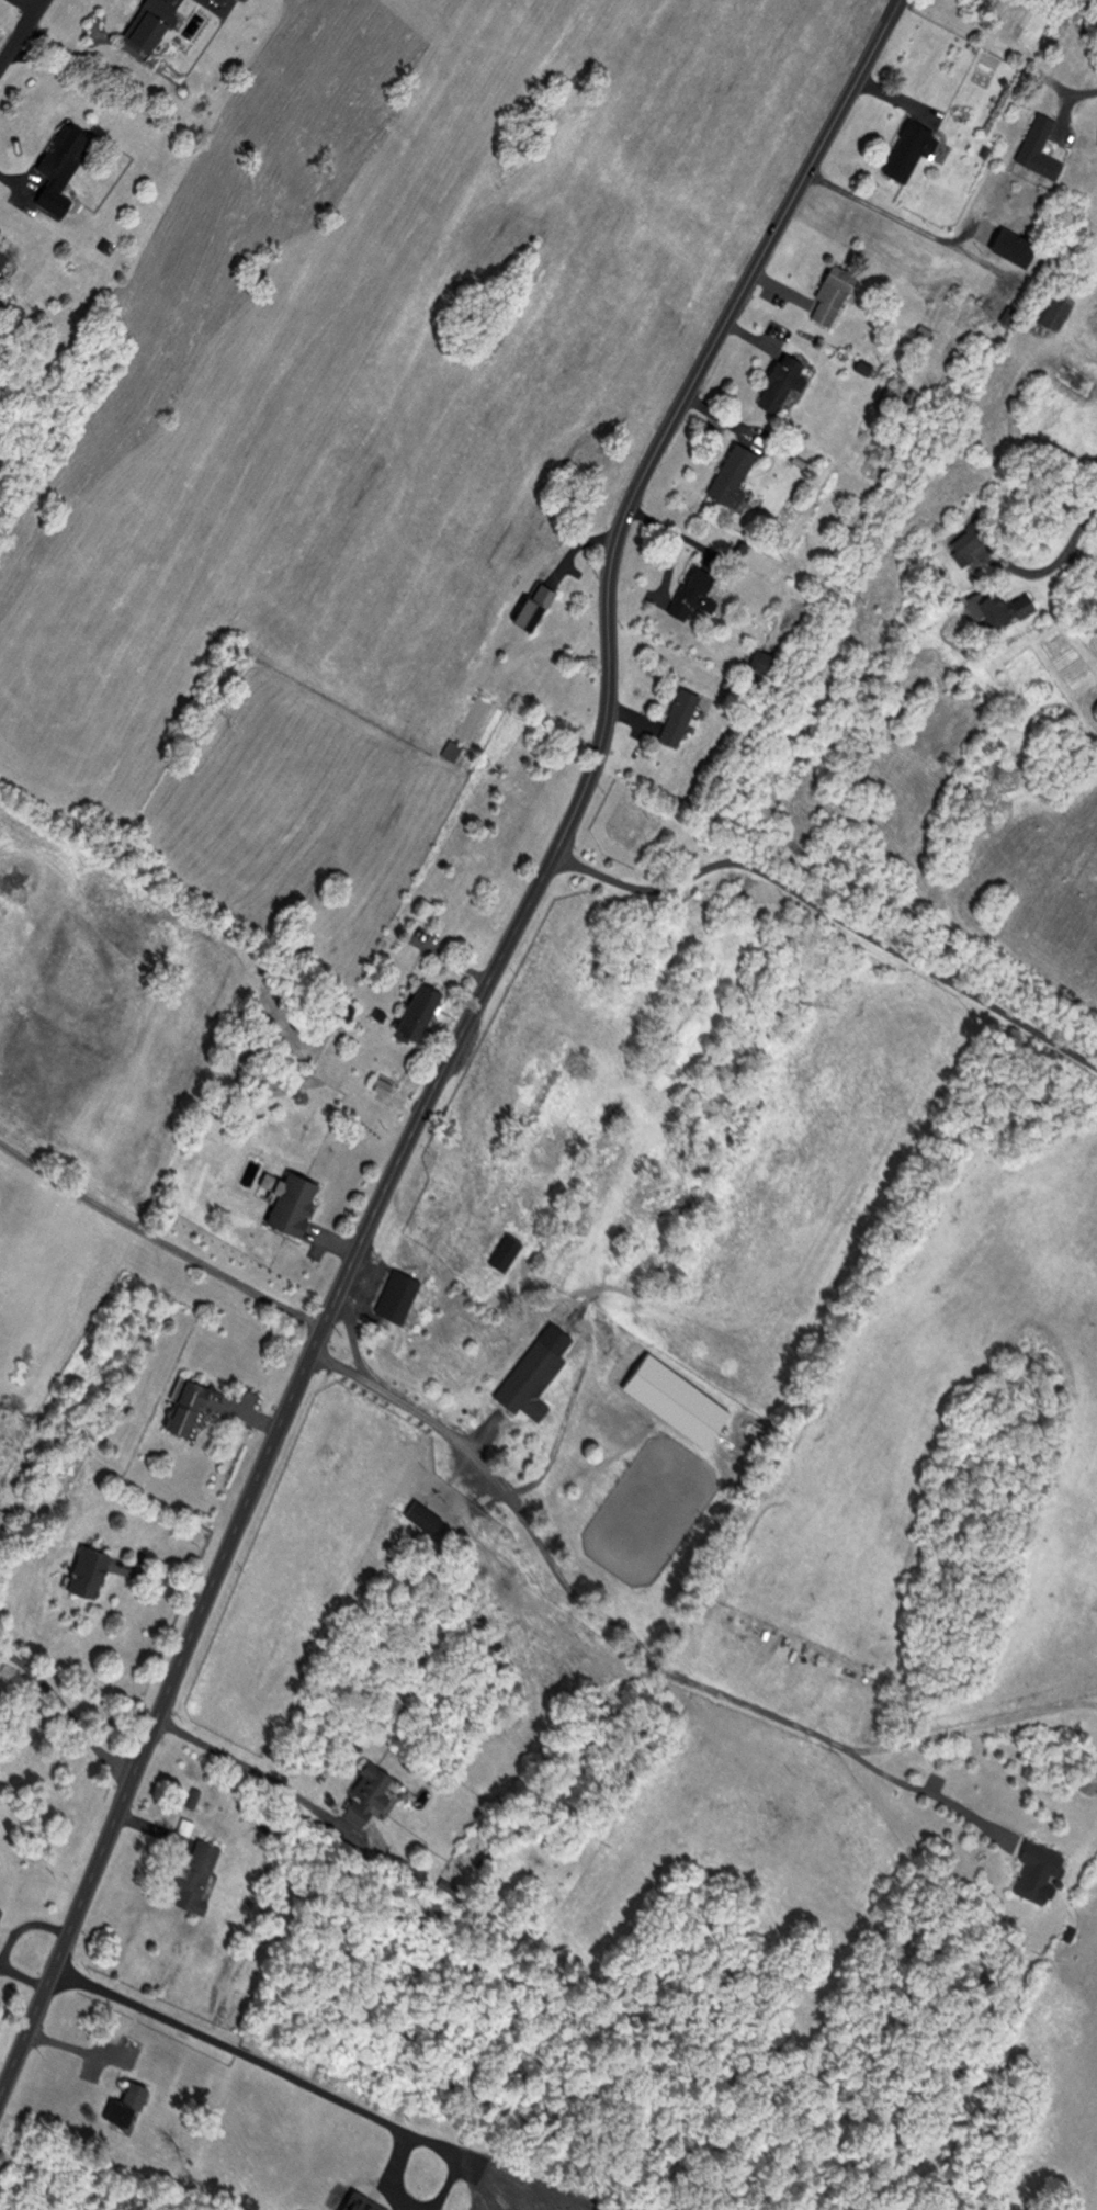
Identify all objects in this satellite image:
road: (25, 5)
building: (149, 24)
road: (21, 31)
road: (1077, 90)
building: (1037, 147)
building: (907, 148)
building: (61, 150)
road: (20, 189)
road: (914, 227)
building: (1003, 241)
building: (2, 256)
building: (830, 293)
building: (780, 380)
building: (731, 473)
building: (966, 541)
road: (1055, 554)
building: (695, 588)
building: (531, 604)
building: (999, 605)
building: (758, 659)
building: (676, 715)
building: (452, 748)
road: (832, 912)
building: (411, 1010)
road: (455, 1044)
building: (292, 1205)
road: (158, 1237)
building: (501, 1250)
building: (392, 1294)
road: (355, 1362)
building: (530, 1372)
building: (182, 1405)
building: (421, 1514)
building: (87, 1571)
road: (642, 1649)
road: (68, 1713)
road: (251, 1772)
building: (364, 1793)
building: (1032, 1865)
building: (192, 1871)
building: (0, 1906)
road: (78, 2051)
road: (332, 2091)
building: (124, 2102)
road: (525, 2183)
road: (490, 2191)
building: (359, 2201)
road: (410, 2209)

